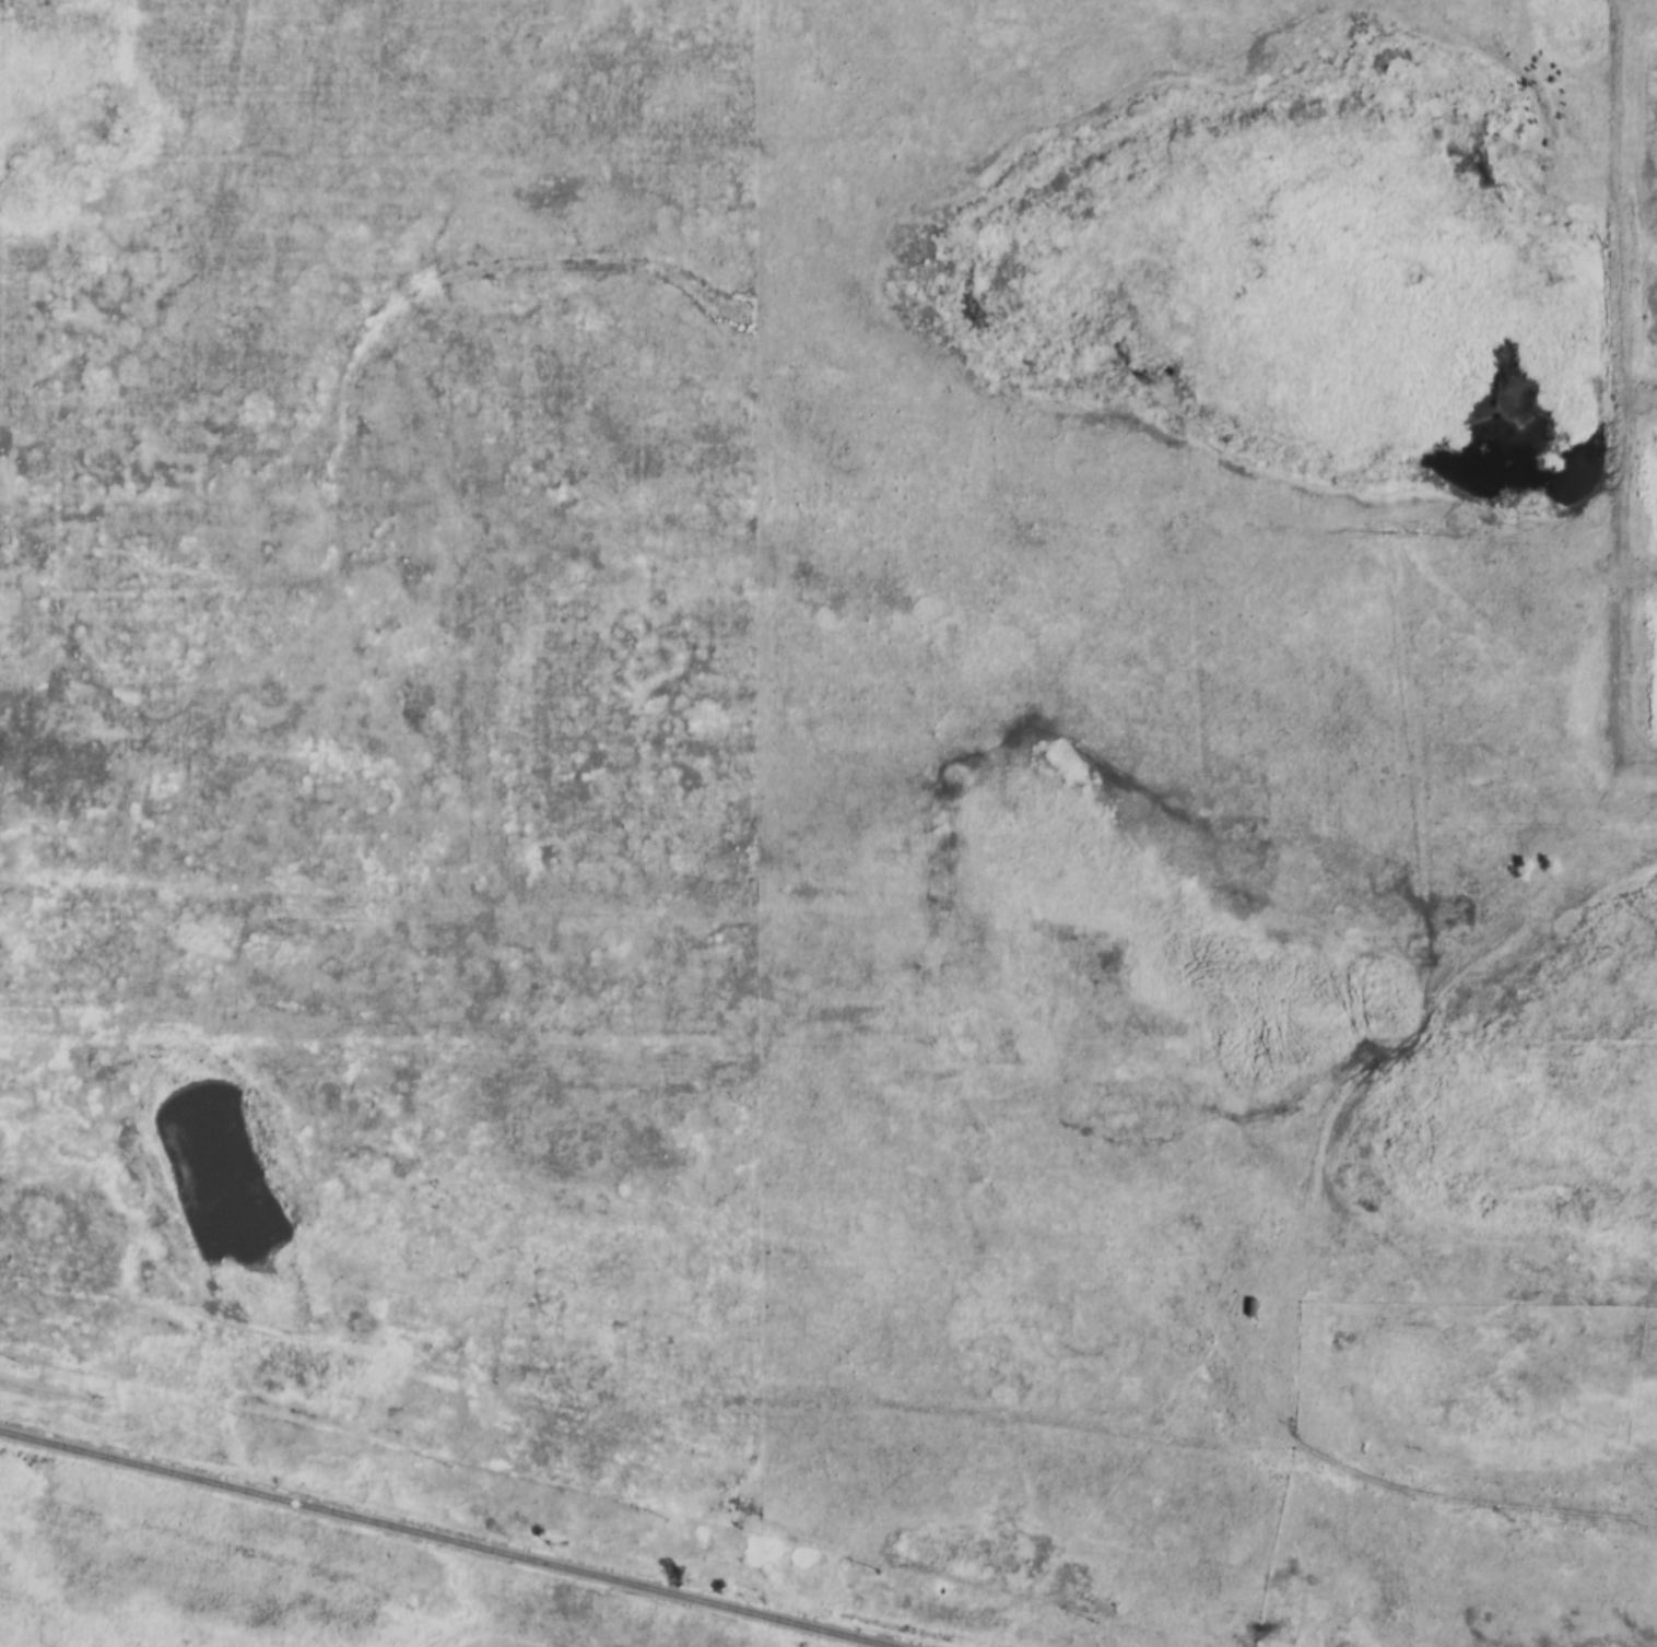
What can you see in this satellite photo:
building: (1245, 1307)
road: (1579, 1503)
railway: (444, 1538)

